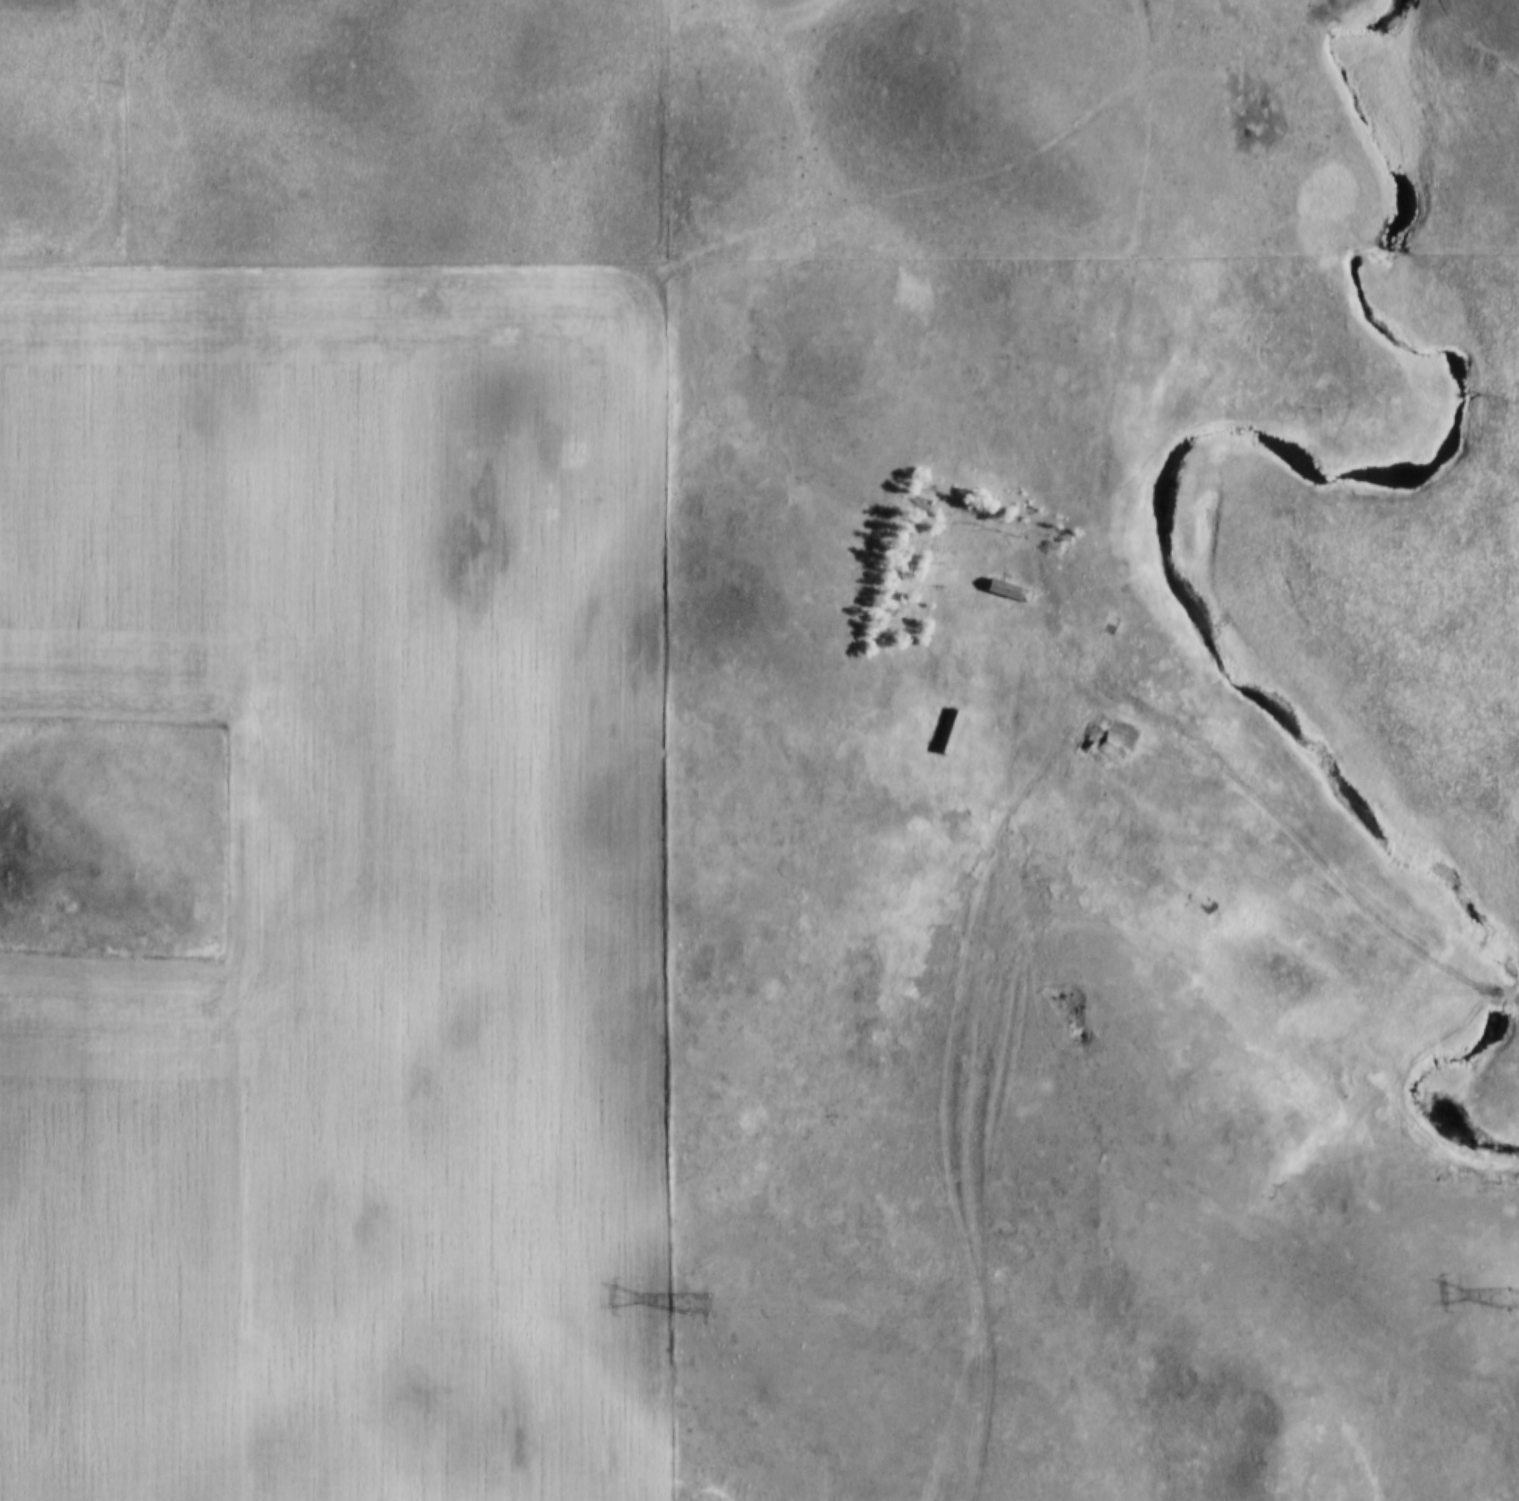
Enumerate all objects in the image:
road: (118, 175)
building: (949, 721)
building: (1094, 734)
road: (1003, 831)
power tower: (1511, 1310)
power tower: (701, 1314)

